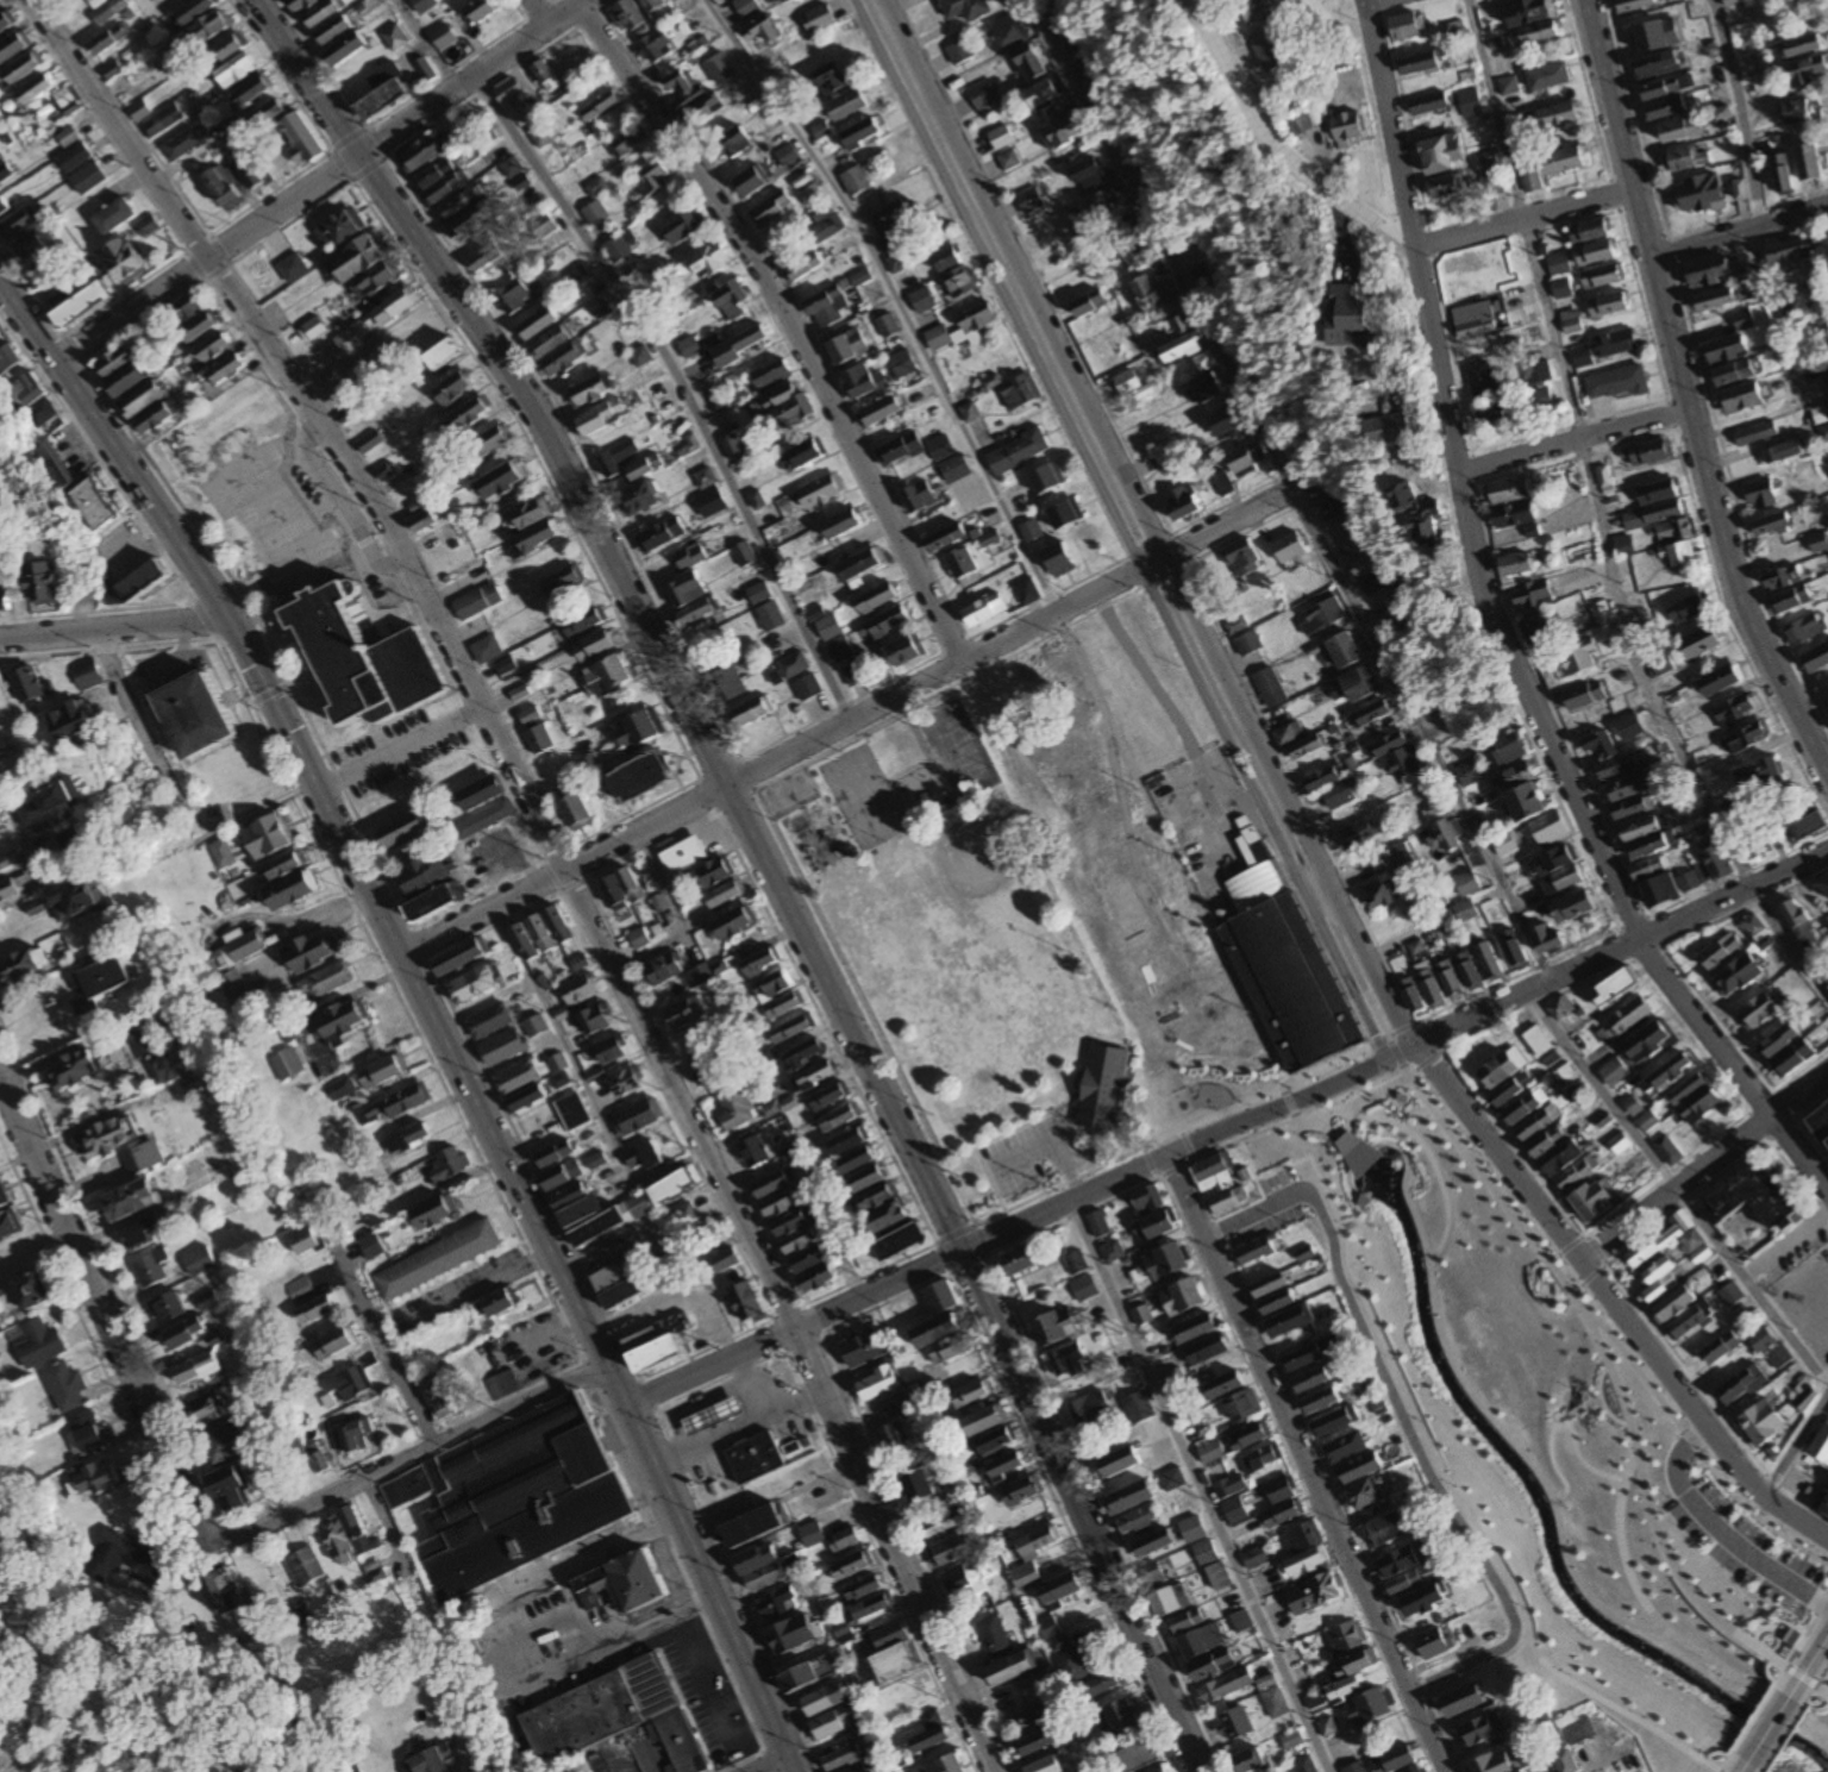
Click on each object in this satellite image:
building: (71, 0)
building: (670, 0)
road: (1366, 1)
building: (424, 5)
road: (538, 11)
road: (425, 44)
road: (1742, 109)
road: (1272, 151)
road: (318, 183)
road: (1522, 217)
road: (1736, 228)
road: (893, 296)
road: (790, 319)
road: (681, 387)
road: (1682, 393)
road: (1570, 439)
road: (1289, 490)
road: (1597, 518)
road: (1129, 520)
road: (1145, 522)
road: (1120, 528)
road: (634, 606)
road: (113, 628)
road: (1503, 633)
road: (964, 691)
traffic signals: (267, 695)
road: (143, 715)
road: (847, 725)
park: (954, 749)
road: (1294, 782)
park: (860, 793)
park: (878, 828)
road: (21, 844)
park: (975, 856)
road: (559, 859)
park: (1009, 931)
road: (1621, 946)
road: (1476, 990)
road: (1657, 994)
road: (863, 1001)
road: (428, 1008)
road: (1421, 1018)
road: (1401, 1025)
road: (1485, 1026)
road: (1431, 1033)
road: (1386, 1034)
road: (1376, 1040)
street lamp: (1444, 1045)
road: (1440, 1048)
road: (1395, 1051)
road: (1428, 1059)
road: (1321, 1065)
road: (1413, 1070)
building: (1102, 1085)
road: (1408, 1090)
road: (1287, 1101)
building: (1413, 1102)
street lamp: (1316, 1107)
road: (1400, 1114)
road: (1294, 1116)
building: (1822, 1120)
road: (1755, 1123)
road: (1181, 1129)
road: (994, 1133)
road: (1239, 1137)
road: (1051, 1141)
road: (1344, 1141)
road: (1185, 1142)
road: (1360, 1142)
road: (1185, 1144)
road: (1395, 1144)
road: (1142, 1147)
building: (1354, 1150)
parking lot: (1029, 1151)
road: (1123, 1152)
road: (1348, 1153)
road: (1191, 1156)
street lamp: (1185, 1159)
road: (1148, 1160)
road: (1703, 1163)
road: (1172, 1167)
road: (1153, 1173)
road: (1262, 1175)
road: (1795, 1175)
street lamp: (1294, 1177)
road: (1647, 1186)
road: (1677, 1189)
building: (1360, 1197)
road: (1356, 1206)
parking lot: (1264, 1208)
road: (1075, 1213)
road: (964, 1234)
road: (981, 1236)
road: (1784, 1241)
road: (1626, 1244)
road: (988, 1250)
road: (1602, 1264)
road: (1548, 1296)
road: (1611, 1300)
road: (109, 1319)
road: (789, 1326)
road: (390, 1348)
road: (1608, 1363)
road: (1601, 1398)
building: (710, 1414)
road: (1555, 1415)
road: (1301, 1419)
road: (1403, 1420)
road: (1559, 1422)
park: (1553, 1435)
road: (1426, 1438)
road: (1795, 1439)
road: (1696, 1448)
road: (1523, 1455)
building: (751, 1457)
road: (1306, 1461)
road: (411, 1463)
road: (1198, 1485)
road: (1798, 1498)
building: (511, 1501)
road: (1079, 1510)
road: (389, 1520)
road: (1720, 1528)
parking lot: (1744, 1547)
road: (1621, 1548)
road: (1796, 1592)
building: (638, 1596)
road: (1776, 1628)
building: (1790, 1635)
road: (1798, 1636)
road: (1784, 1645)
road: (1813, 1652)
road: (1482, 1668)
road: (1765, 1668)
road: (1799, 1674)
road: (1822, 1676)
road: (1421, 1682)
road: (1792, 1685)
road: (1821, 1688)
road: (1817, 1691)
road: (1809, 1695)
road: (1818, 1702)
street lamp: (1827, 1702)
road: (1751, 1715)
road: (1767, 1726)
street lamp: (1795, 1728)
road: (1815, 1728)
road: (1444, 1729)
building: (626, 1732)
road: (1826, 1733)
road: (1784, 1735)
street lamp: (1782, 1748)
road: (1713, 1751)
street lamp: (1704, 1753)
road: (1722, 1758)
road: (13, 1764)
road: (763, 1764)
road: (1744, 1764)
road: (1763, 1768)
road: (1764, 1768)
road: (1722, 1771)

